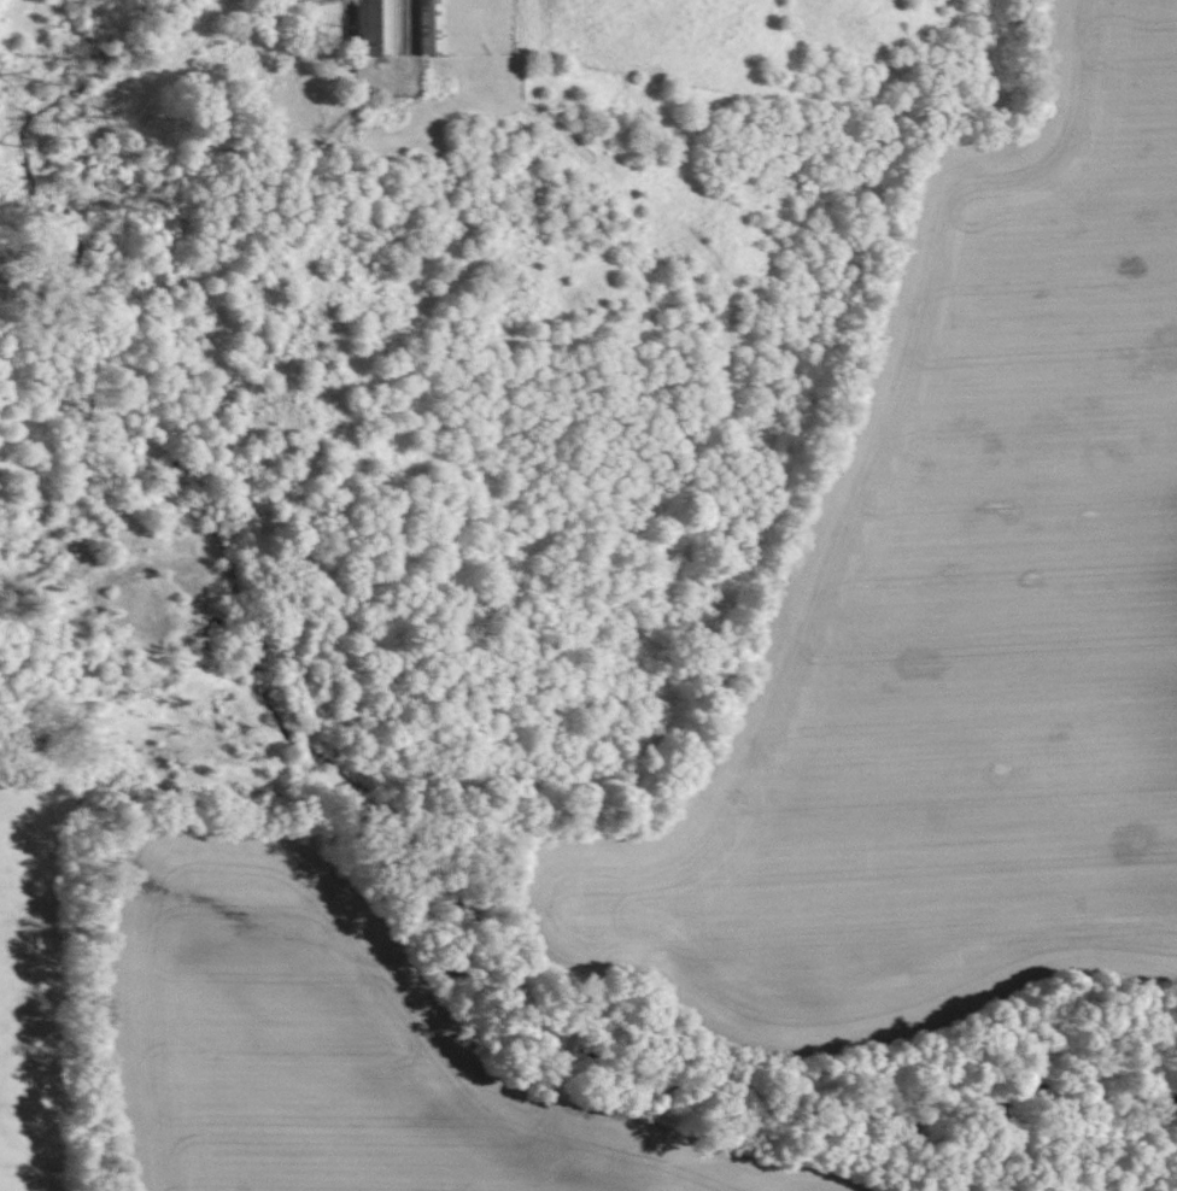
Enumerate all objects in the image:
building: (369, 27)
building: (426, 27)

